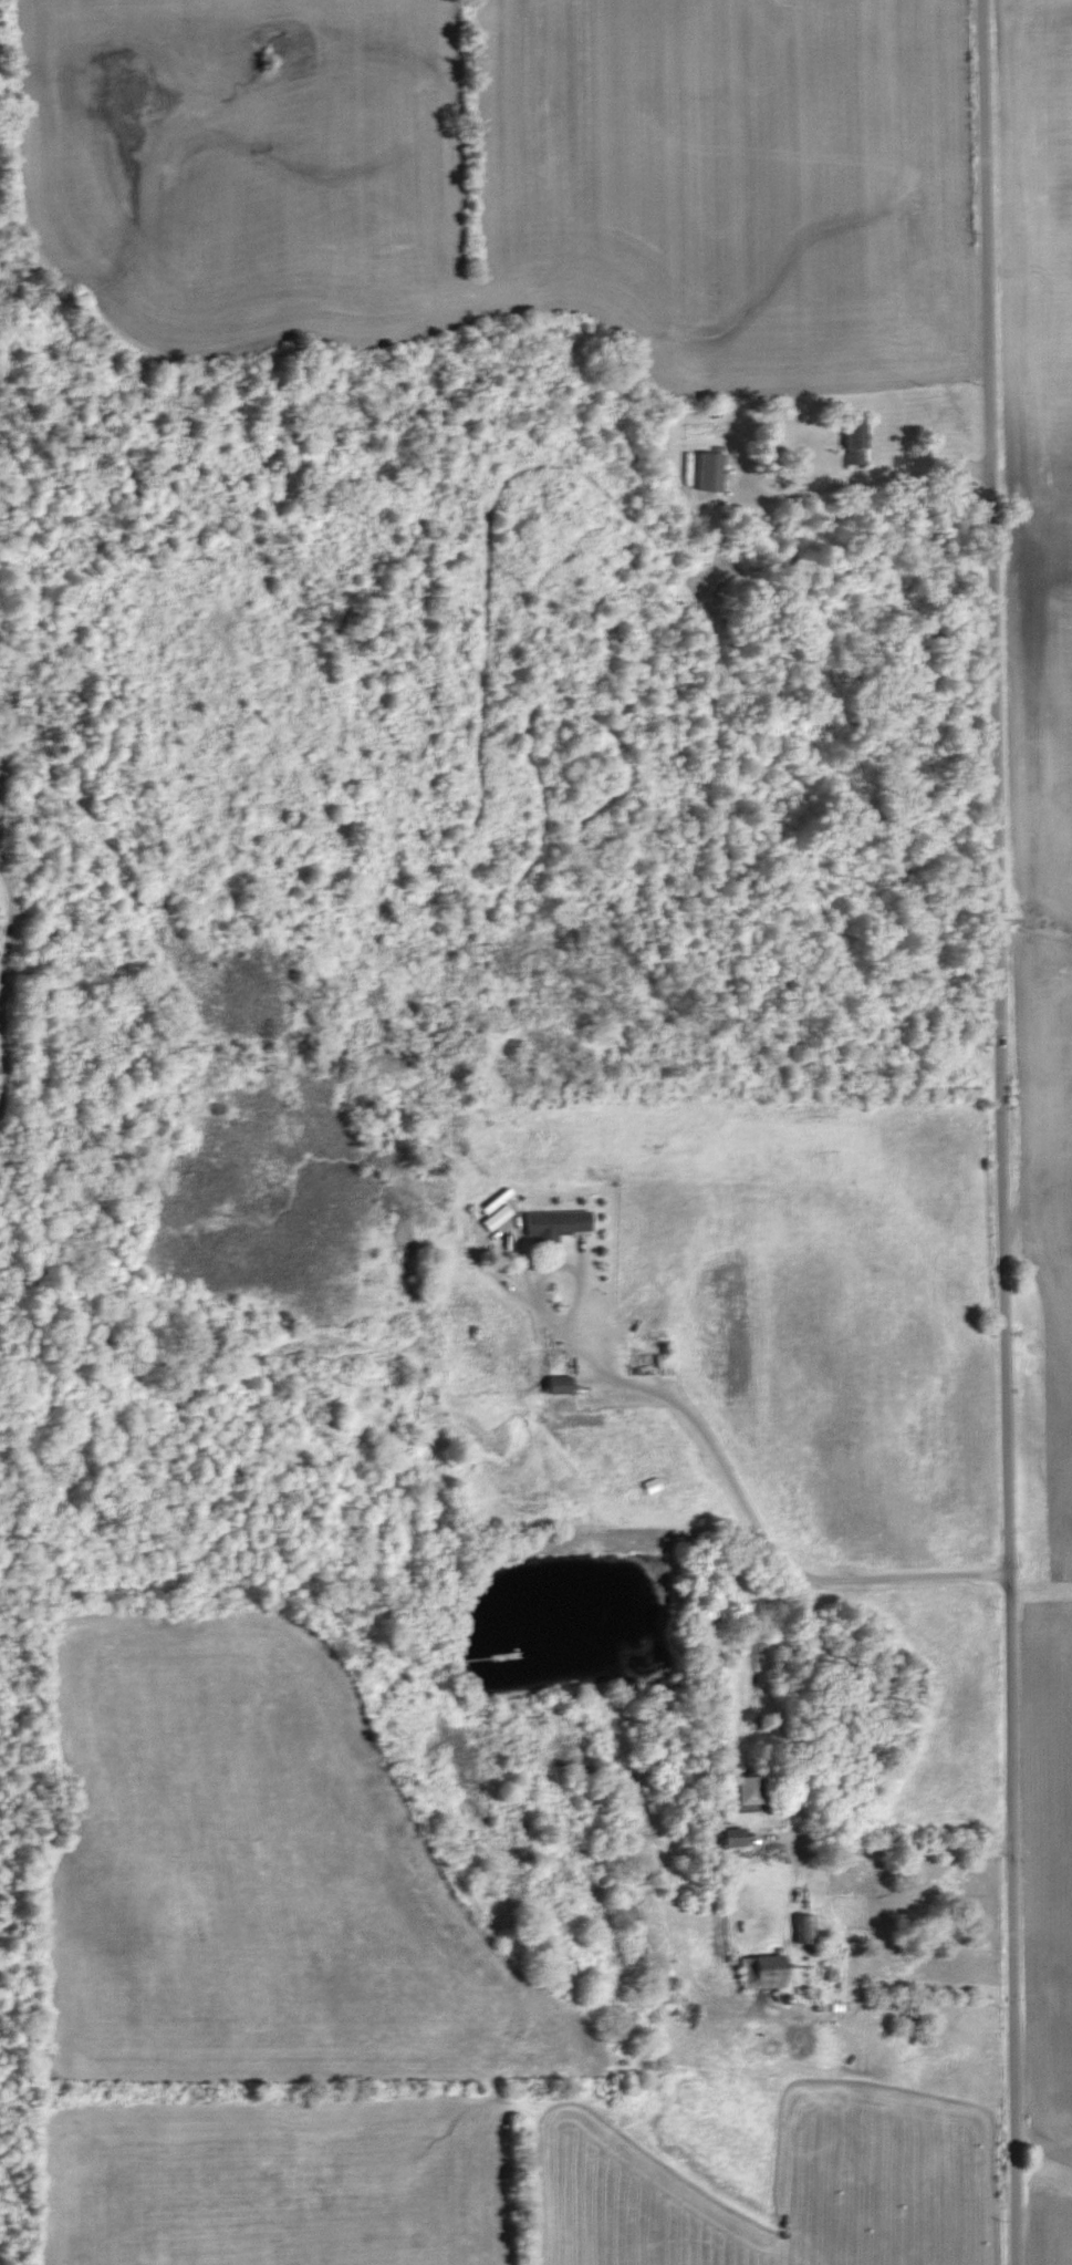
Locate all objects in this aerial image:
building: (858, 445)
building: (712, 473)
road: (867, 475)
road: (1000, 1131)
building: (493, 1203)
building: (495, 1220)
building: (558, 1223)
building: (562, 1384)
road: (715, 1449)
building: (749, 1791)
road: (891, 1849)
building: (805, 1928)
building: (763, 1975)

